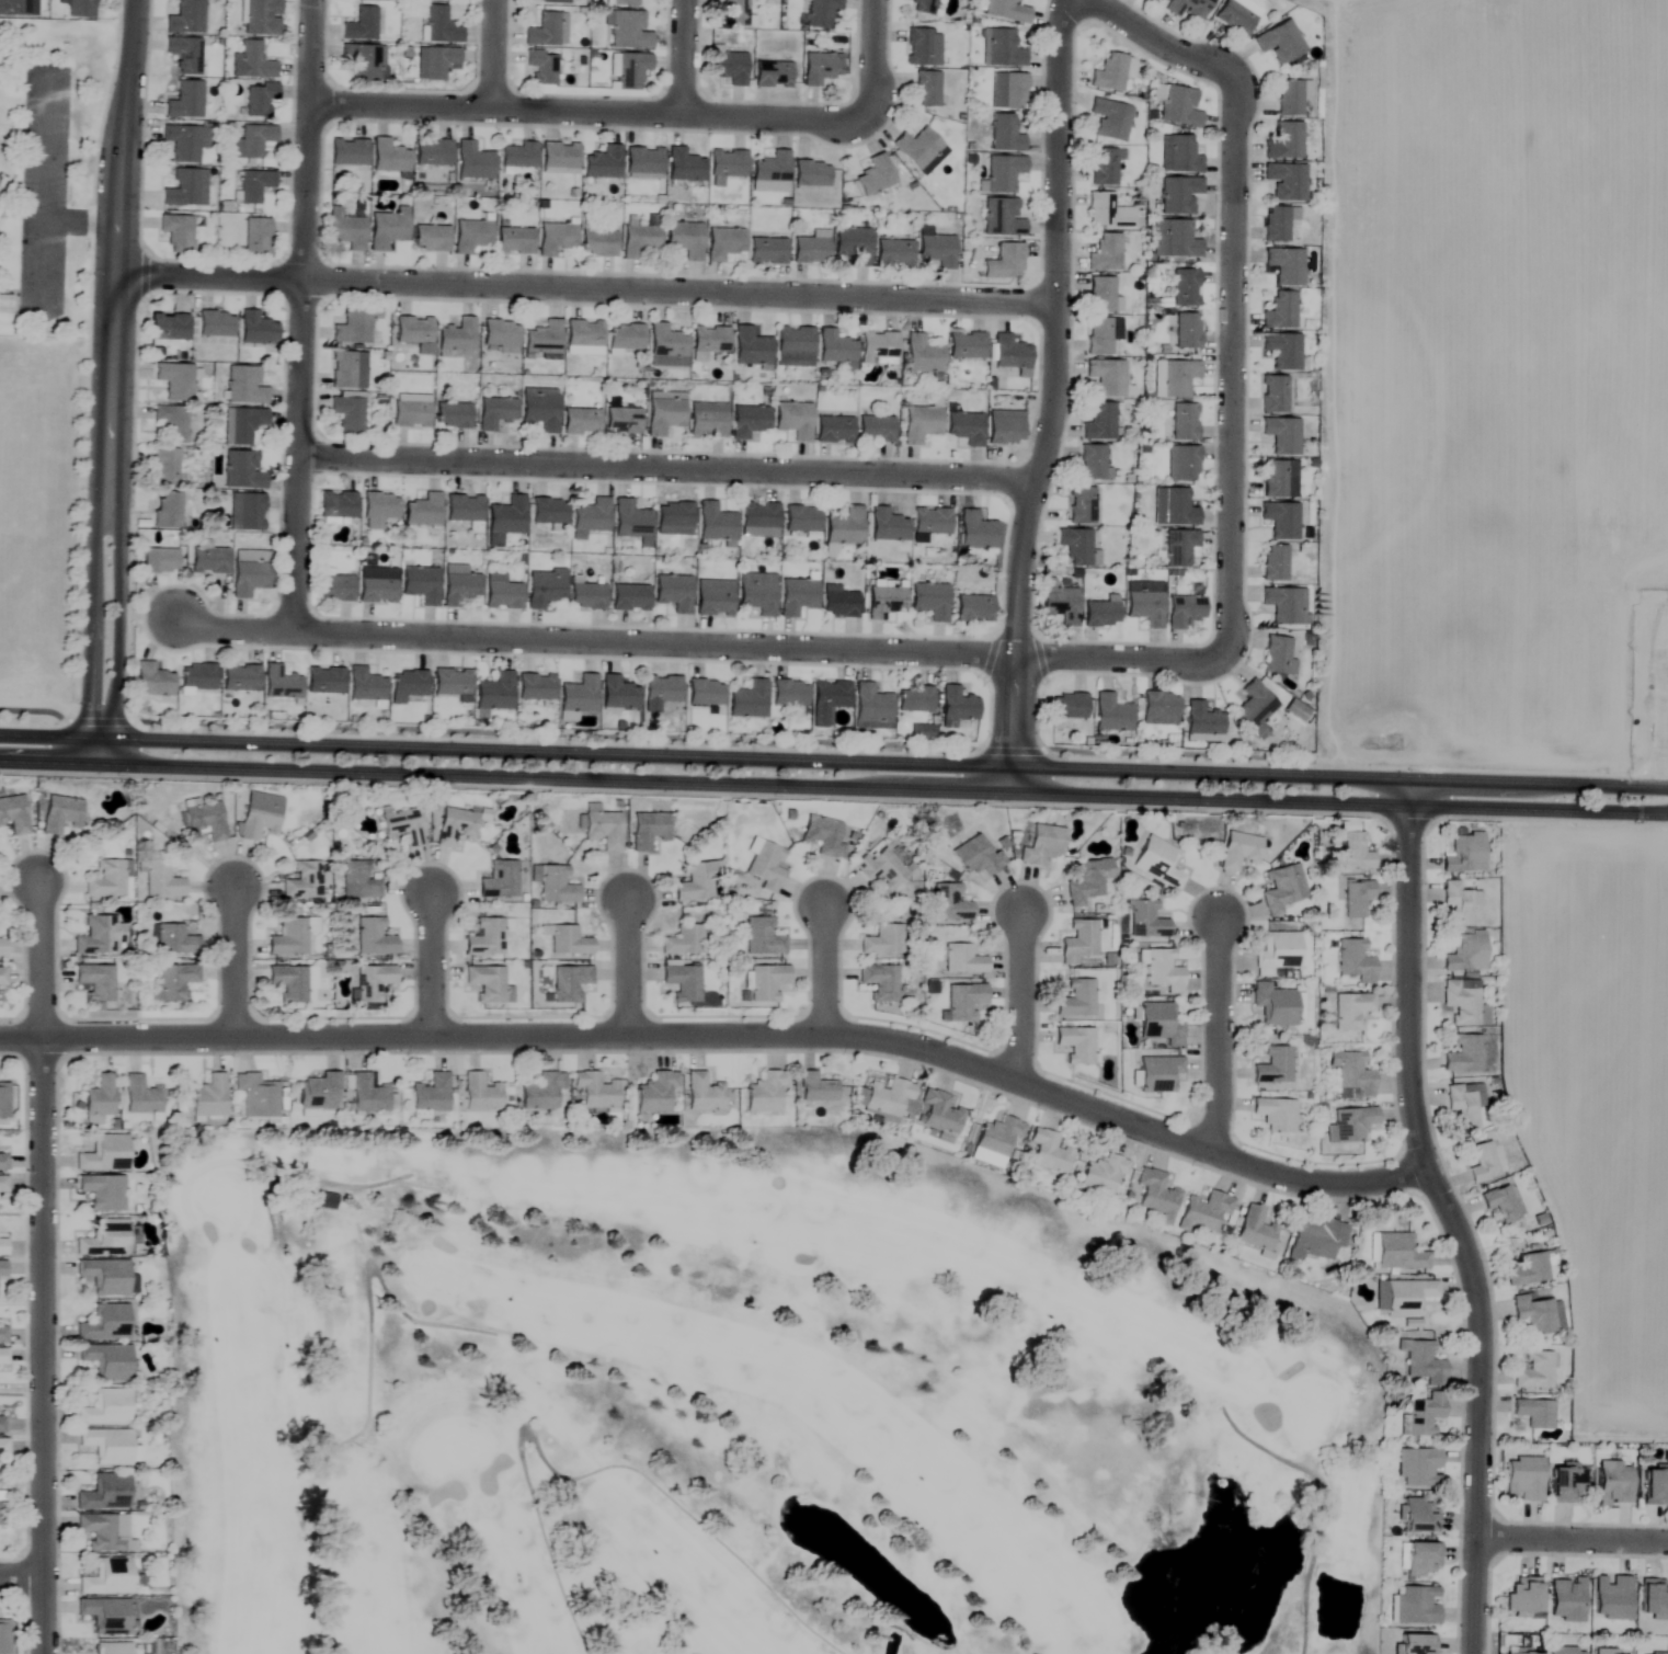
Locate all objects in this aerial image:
building: (553, 1)
building: (1156, 1)
building: (622, 2)
building: (923, 7)
building: (13, 8)
building: (1188, 8)
building: (79, 9)
building: (1006, 10)
building: (733, 13)
building: (820, 13)
building: (260, 16)
building: (1235, 16)
building: (185, 18)
building: (361, 24)
building: (439, 25)
building: (546, 30)
building: (626, 30)
building: (1279, 42)
road: (1161, 45)
building: (918, 47)
building: (1003, 48)
building: (184, 54)
road: (494, 55)
road: (683, 58)
road: (870, 60)
building: (359, 61)
building: (437, 61)
building: (250, 62)
building: (728, 67)
building: (540, 68)
building: (820, 68)
building: (629, 70)
building: (1109, 72)
building: (772, 75)
building: (926, 89)
building: (1007, 90)
building: (1291, 96)
building: (184, 100)
building: (260, 100)
building: (1179, 106)
road: (587, 112)
building: (1110, 119)
building: (1004, 134)
building: (254, 139)
building: (184, 141)
building: (1284, 141)
building: (918, 148)
building: (347, 152)
building: (432, 152)
building: (1181, 155)
building: (517, 156)
building: (388, 157)
building: (558, 158)
building: (471, 159)
building: (642, 160)
building: (602, 163)
building: (727, 163)
building: (683, 166)
building: (1103, 167)
park: (48, 171)
building: (770, 173)
building: (810, 173)
building: (1003, 173)
building: (873, 175)
road: (44, 179)
building: (1286, 181)
building: (253, 185)
building: (182, 189)
building: (1177, 194)
building: (1107, 213)
building: (1001, 218)
building: (1277, 223)
building: (345, 229)
building: (386, 230)
building: (176, 232)
building: (255, 236)
building: (470, 236)
building: (430, 238)
building: (555, 238)
building: (684, 239)
building: (1173, 239)
building: (639, 240)
building: (513, 241)
building: (597, 243)
building: (723, 243)
building: (853, 244)
building: (811, 248)
road: (43, 250)
building: (766, 251)
building: (937, 251)
road: (117, 253)
building: (893, 253)
building: (1105, 253)
building: (1004, 263)
building: (1284, 265)
building: (1184, 288)
road: (586, 289)
building: (1100, 295)
building: (5, 299)
building: (1280, 311)
road: (299, 316)
building: (214, 323)
building: (354, 326)
building: (168, 327)
building: (256, 329)
building: (412, 330)
building: (1186, 331)
building: (582, 333)
building: (499, 335)
building: (457, 336)
building: (625, 336)
building: (1098, 336)
building: (542, 339)
building: (709, 341)
building: (966, 345)
building: (750, 346)
building: (665, 347)
building: (793, 347)
building: (878, 347)
building: (836, 350)
building: (1282, 351)
building: (1009, 353)
building: (922, 355)
road: (1232, 365)
building: (347, 370)
building: (1107, 377)
building: (1177, 378)
building: (174, 380)
crop: (1505, 381)
building: (244, 386)
building: (1273, 395)
road: (1054, 397)
building: (539, 409)
building: (410, 413)
building: (494, 413)
building: (346, 414)
building: (452, 415)
building: (663, 415)
building: (706, 420)
building: (793, 420)
building: (580, 421)
building: (621, 421)
building: (747, 421)
building: (1184, 422)
building: (171, 423)
building: (1099, 423)
building: (919, 424)
building: (241, 425)
building: (964, 427)
building: (833, 429)
building: (875, 429)
building: (1005, 432)
building: (1282, 435)
building: (1092, 463)
building: (1184, 464)
building: (164, 467)
road: (669, 467)
building: (242, 469)
building: (1279, 479)
building: (336, 505)
building: (1079, 505)
building: (1172, 509)
building: (378, 510)
building: (165, 511)
building: (422, 511)
building: (465, 511)
building: (547, 511)
building: (245, 512)
building: (506, 516)
building: (591, 517)
building: (673, 520)
building: (758, 520)
building: (800, 520)
building: (1280, 520)
building: (630, 521)
building: (929, 522)
building: (715, 523)
building: (886, 526)
building: (844, 527)
building: (976, 532)
building: (1075, 546)
building: (1178, 548)
building: (158, 561)
building: (208, 561)
building: (1273, 563)
building: (249, 572)
building: (420, 584)
building: (334, 589)
building: (459, 589)
building: (544, 589)
building: (376, 590)
building: (501, 593)
building: (673, 593)
building: (757, 593)
building: (797, 596)
building: (586, 597)
building: (629, 598)
building: (713, 598)
building: (929, 601)
building: (884, 602)
building: (1144, 603)
building: (839, 604)
building: (1060, 605)
building: (1284, 607)
building: (973, 608)
building: (1184, 611)
building: (1100, 613)
road: (93, 632)
road: (115, 634)
road: (700, 645)
building: (1278, 657)
building: (196, 676)
building: (239, 677)
building: (324, 680)
building: (151, 681)
building: (279, 683)
building: (408, 683)
building: (450, 683)
building: (365, 685)
building: (535, 686)
building: (660, 692)
building: (493, 693)
building: (704, 693)
building: (788, 693)
building: (617, 694)
building: (578, 695)
building: (913, 698)
building: (747, 699)
building: (826, 699)
building: (870, 704)
building: (957, 704)
building: (1067, 706)
building: (1158, 708)
building: (1255, 708)
building: (1111, 714)
building: (1202, 721)
road: (834, 757)
road: (833, 785)
building: (59, 813)
building: (13, 814)
building: (259, 815)
building: (205, 820)
building: (402, 826)
building: (455, 826)
building: (602, 828)
building: (648, 830)
building: (823, 836)
building: (1041, 845)
building: (1238, 851)
building: (1355, 852)
building: (1464, 853)
building: (975, 856)
building: (1157, 862)
building: (766, 866)
building: (880, 869)
building: (162, 879)
building: (106, 880)
building: (302, 880)
building: (499, 880)
building: (357, 881)
building: (1087, 881)
building: (695, 883)
building: (556, 885)
building: (1282, 889)
building: (1356, 898)
building: (948, 903)
building: (1458, 903)
building: (1145, 920)
building: (99, 936)
building: (288, 937)
building: (369, 937)
building: (484, 937)
building: (762, 937)
building: (174, 940)
building: (568, 940)
building: (882, 940)
building: (1079, 940)
building: (683, 942)
building: (2, 947)
building: (1465, 953)
building: (1279, 954)
road: (42, 958)
road: (235, 960)
building: (961, 960)
building: (1353, 960)
road: (431, 965)
road: (628, 968)
road: (820, 968)
building: (1162, 971)
road: (1220, 972)
building: (1, 977)
building: (95, 981)
building: (174, 982)
building: (683, 982)
building: (766, 982)
building: (880, 982)
building: (288, 983)
building: (373, 983)
building: (569, 983)
building: (488, 984)
road: (1022, 997)
building: (1076, 1000)
building: (963, 1002)
building: (1464, 1003)
building: (1273, 1005)
building: (1350, 1011)
building: (1158, 1024)
road: (726, 1037)
building: (1076, 1045)
building: (1463, 1054)
building: (1272, 1066)
building: (1157, 1074)
building: (1351, 1075)
building: (815, 1088)
road: (1219, 1090)
building: (540, 1091)
building: (594, 1091)
building: (318, 1092)
building: (764, 1092)
building: (654, 1093)
building: (704, 1093)
building: (367, 1094)
building: (431, 1094)
building: (479, 1094)
building: (99, 1096)
building: (140, 1096)
building: (256, 1096)
building: (209, 1097)
crop: (1597, 1097)
building: (888, 1098)
building: (3, 1100)
building: (1464, 1104)
building: (939, 1114)
building: (1275, 1115)
building: (1349, 1125)
building: (996, 1137)
building: (1048, 1152)
building: (103, 1153)
building: (1483, 1163)
building: (2, 1173)
building: (1101, 1174)
building: (102, 1191)
building: (1155, 1195)
building: (325, 1200)
building: (1500, 1204)
building: (1203, 1212)
road: (1448, 1214)
building: (1254, 1229)
building: (104, 1239)
building: (1315, 1239)
building: (2, 1245)
building: (1396, 1252)
building: (2, 1269)
building: (1529, 1269)
building: (104, 1276)
building: (1406, 1297)
building: (1534, 1314)
building: (104, 1323)
building: (2, 1334)
road: (43, 1345)
building: (2, 1356)
building: (106, 1360)
building: (1420, 1361)
building: (1533, 1370)
park: (716, 1401)
building: (104, 1408)
building: (1535, 1413)
building: (1423, 1414)
building: (1, 1424)
building: (2, 1446)
building: (106, 1446)
building: (1417, 1467)
building: (1523, 1479)
building: (1614, 1483)
building: (1566, 1485)
building: (1655, 1486)
building: (105, 1493)
building: (1, 1508)
building: (1418, 1515)
building: (100, 1532)
road: (1573, 1537)
building: (1420, 1559)
road: (23, 1576)
building: (107, 1577)
building: (1523, 1596)
building: (1611, 1597)
building: (1653, 1598)
building: (1565, 1599)
building: (1416, 1605)
building: (106, 1616)
building: (4, 1636)
building: (1415, 1644)
building: (113, 1649)
building: (1565, 1651)
building: (1609, 1652)
building: (1522, 1653)

